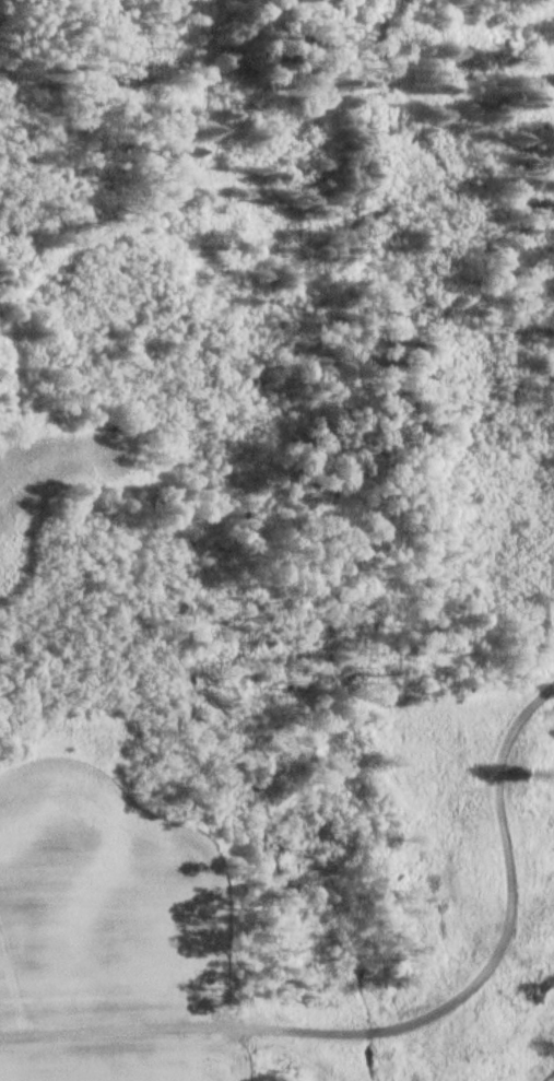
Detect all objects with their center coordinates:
road: (403, 1014)

